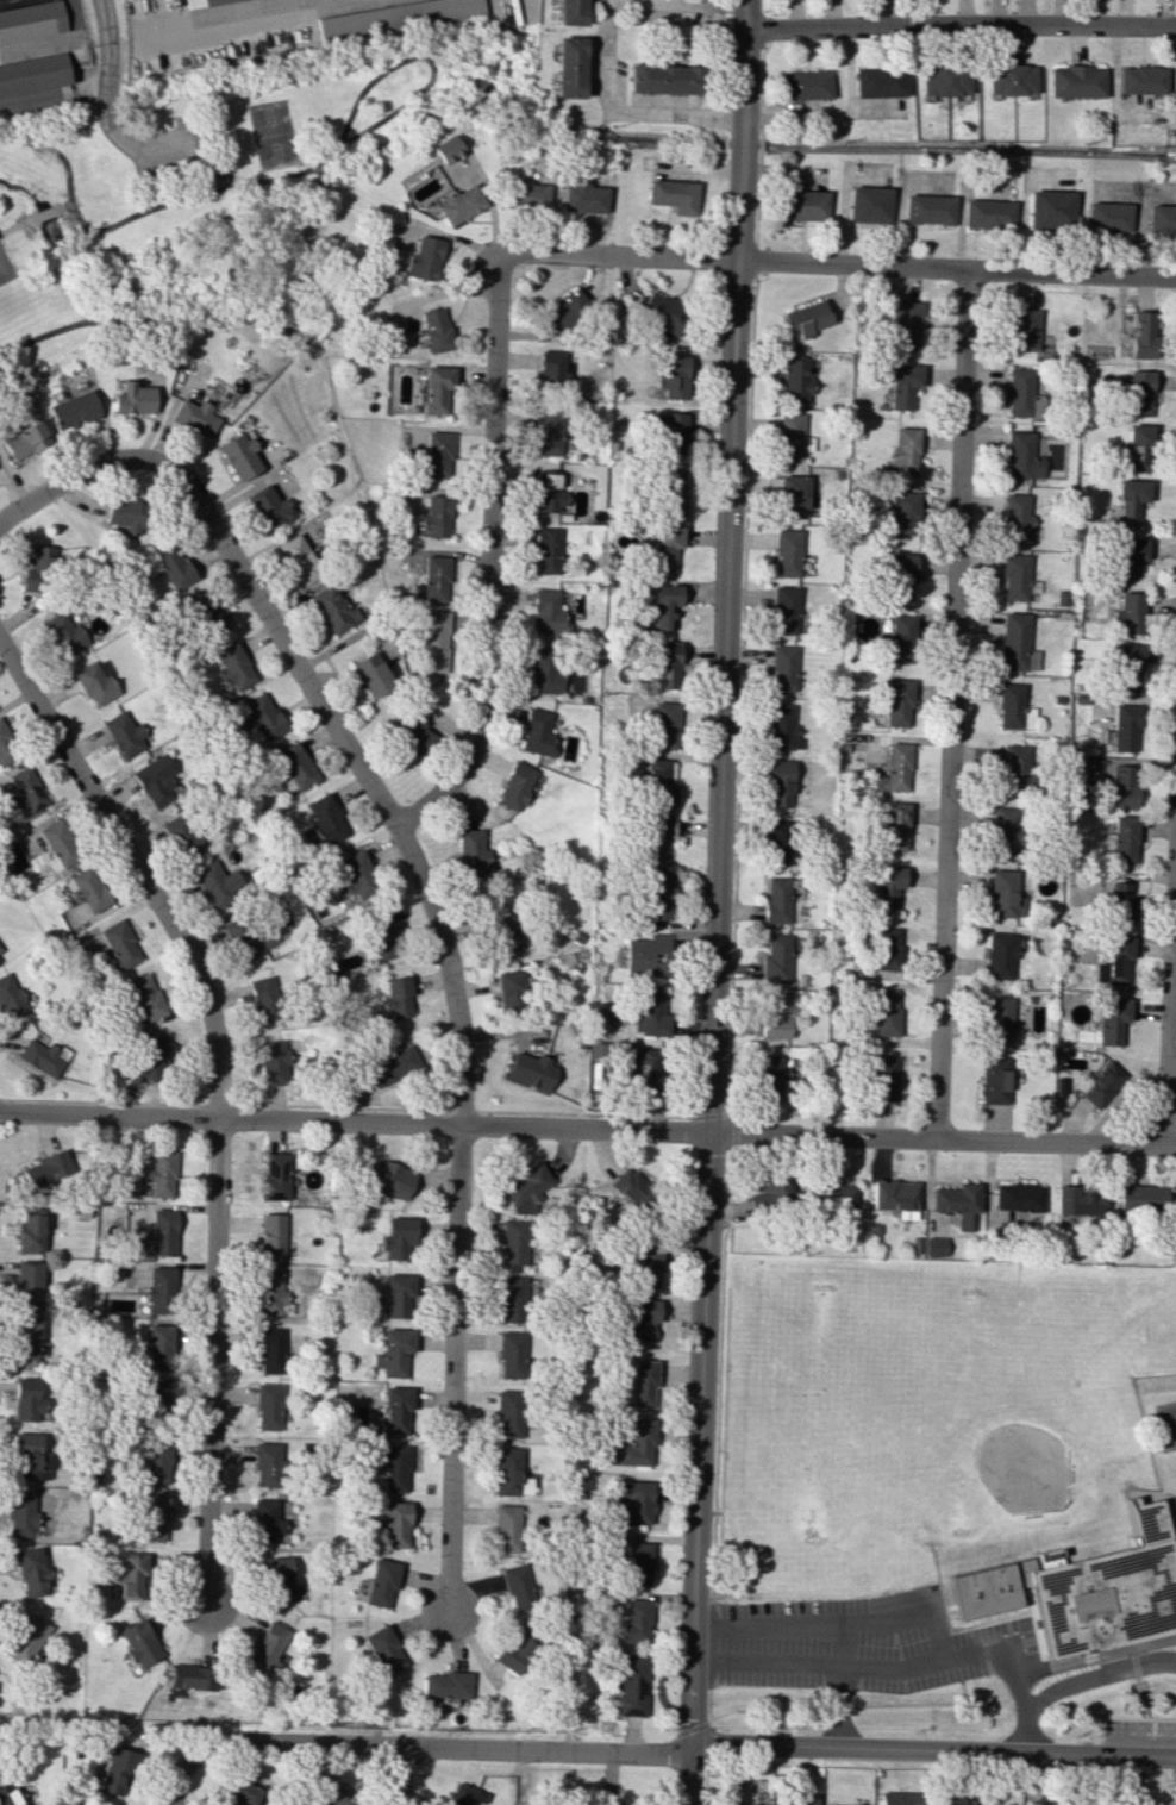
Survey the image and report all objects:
road: (5, 0)
building: (194, 0)
road: (690, 2)
building: (570, 12)
building: (396, 17)
building: (31, 20)
road: (225, 23)
road: (959, 25)
road: (58, 42)
road: (418, 57)
building: (568, 67)
building: (32, 74)
building: (663, 79)
building: (1009, 79)
building: (943, 80)
building: (1141, 80)
road: (106, 81)
building: (880, 81)
building: (1076, 81)
building: (806, 83)
road: (52, 98)
road: (619, 111)
park: (274, 135)
road: (168, 144)
road: (234, 145)
parking lot: (174, 146)
building: (446, 149)
road: (209, 169)
building: (218, 175)
road: (326, 180)
road: (208, 182)
park: (218, 189)
building: (530, 195)
building: (673, 195)
building: (583, 198)
building: (459, 204)
building: (869, 204)
building: (801, 205)
road: (63, 207)
building: (1051, 207)
building: (927, 208)
road: (44, 213)
building: (988, 213)
road: (138, 214)
building: (1108, 216)
building: (1162, 218)
road: (17, 225)
building: (423, 258)
road: (833, 263)
park: (5, 268)
building: (567, 310)
building: (664, 312)
road: (200, 316)
building: (807, 318)
building: (908, 323)
building: (434, 329)
building: (1025, 330)
building: (552, 369)
building: (673, 377)
building: (796, 379)
building: (905, 385)
building: (437, 389)
building: (1022, 393)
building: (1139, 393)
building: (133, 398)
building: (73, 410)
building: (194, 417)
building: (550, 430)
building: (673, 433)
building: (790, 436)
building: (24, 439)
building: (1137, 448)
building: (906, 450)
building: (438, 454)
building: (239, 456)
building: (1022, 456)
building: (549, 492)
building: (673, 493)
road: (42, 494)
building: (794, 494)
building: (1130, 500)
building: (269, 507)
building: (127, 513)
building: (905, 513)
building: (1015, 516)
building: (664, 548)
building: (546, 550)
building: (788, 552)
building: (1130, 556)
building: (299, 558)
road: (487, 561)
building: (173, 566)
building: (38, 569)
building: (901, 575)
building: (1014, 577)
building: (432, 580)
building: (663, 606)
building: (332, 608)
building: (784, 610)
building: (546, 612)
building: (1128, 612)
building: (205, 614)
building: (63, 633)
building: (900, 639)
building: (431, 641)
building: (1017, 643)
building: (667, 664)
building: (1128, 666)
building: (234, 667)
building: (783, 668)
building: (544, 672)
building: (371, 675)
building: (94, 683)
building: (897, 702)
road: (951, 704)
building: (1011, 705)
building: (264, 716)
building: (664, 725)
building: (782, 727)
building: (1125, 727)
building: (537, 732)
building: (124, 733)
building: (408, 733)
building: (6, 745)
building: (294, 767)
building: (897, 767)
building: (1015, 767)
building: (780, 783)
building: (159, 785)
building: (658, 785)
building: (515, 786)
building: (1124, 786)
building: (23, 795)
building: (325, 819)
building: (893, 825)
building: (1007, 830)
building: (182, 835)
building: (656, 837)
building: (1124, 839)
building: (61, 842)
building: (780, 842)
building: (469, 852)
building: (357, 875)
building: (218, 883)
building: (887, 887)
building: (86, 889)
building: (1003, 893)
building: (658, 895)
building: (777, 900)
building: (1120, 901)
road: (717, 903)
building: (501, 933)
building: (383, 936)
building: (248, 937)
building: (120, 944)
building: (886, 948)
building: (1, 953)
building: (646, 955)
building: (1000, 955)
road: (445, 956)
building: (776, 960)
building: (1115, 962)
road: (1169, 981)
building: (512, 994)
building: (10, 998)
building: (145, 998)
building: (267, 998)
building: (398, 998)
building: (596, 1011)
building: (884, 1012)
building: (651, 1013)
building: (777, 1016)
building: (999, 1018)
building: (1112, 1019)
building: (40, 1057)
building: (154, 1057)
building: (277, 1062)
building: (394, 1062)
building: (531, 1070)
building: (649, 1070)
building: (772, 1076)
building: (883, 1078)
building: (994, 1079)
building: (1102, 1083)
road: (218, 1094)
road: (588, 1129)
building: (44, 1168)
building: (157, 1176)
building: (275, 1176)
building: (393, 1179)
building: (526, 1188)
building: (632, 1188)
building: (770, 1194)
building: (894, 1194)
building: (836, 1195)
building: (1018, 1198)
building: (1140, 1198)
building: (1075, 1203)
building: (958, 1204)
building: (30, 1231)
building: (162, 1231)
building: (273, 1233)
building: (400, 1238)
building: (514, 1241)
building: (936, 1245)
building: (645, 1263)
building: (29, 1285)
building: (159, 1287)
building: (270, 1292)
building: (399, 1295)
building: (517, 1299)
building: (642, 1318)
building: (25, 1342)
building: (158, 1347)
building: (270, 1350)
building: (394, 1351)
building: (512, 1355)
building: (644, 1384)
building: (156, 1391)
building: (26, 1400)
building: (268, 1406)
building: (396, 1410)
park: (886, 1411)
building: (511, 1413)
road: (720, 1413)
park: (932, 1417)
building: (638, 1444)
building: (30, 1459)
building: (156, 1460)
building: (267, 1464)
building: (395, 1468)
park: (1025, 1470)
building: (509, 1473)
road: (1171, 1499)
building: (634, 1501)
park: (1175, 1507)
building: (20, 1513)
building: (154, 1517)
building: (265, 1520)
road: (1171, 1522)
building: (395, 1524)
building: (506, 1528)
building: (1049, 1557)
building: (638, 1563)
building: (32, 1572)
building: (132, 1575)
building: (277, 1580)
building: (380, 1582)
building: (518, 1588)
building: (1083, 1589)
road: (921, 1612)
building: (636, 1620)
road: (964, 1630)
building: (29, 1642)
building: (140, 1642)
building: (268, 1645)
road: (1088, 1647)
road: (711, 1648)
building: (383, 1649)
building: (515, 1650)
road: (1130, 1659)
road: (767, 1666)
building: (193, 1676)
building: (631, 1684)
building: (445, 1685)
road: (1038, 1700)
road: (932, 1704)
road: (1030, 1707)
road: (839, 1709)
road: (755, 1710)
road: (1144, 1712)
road: (1109, 1717)
road: (694, 1726)
road: (1028, 1730)
road: (708, 1740)
road: (687, 1755)
building: (115, 1770)
road: (179, 1774)
road: (398, 1776)
building: (243, 1793)
building: (8, 1794)
building: (331, 1794)
building: (464, 1795)
building: (900, 1798)
building: (799, 1800)
building: (617, 1804)
building: (734, 1804)
building: (831, 1804)

